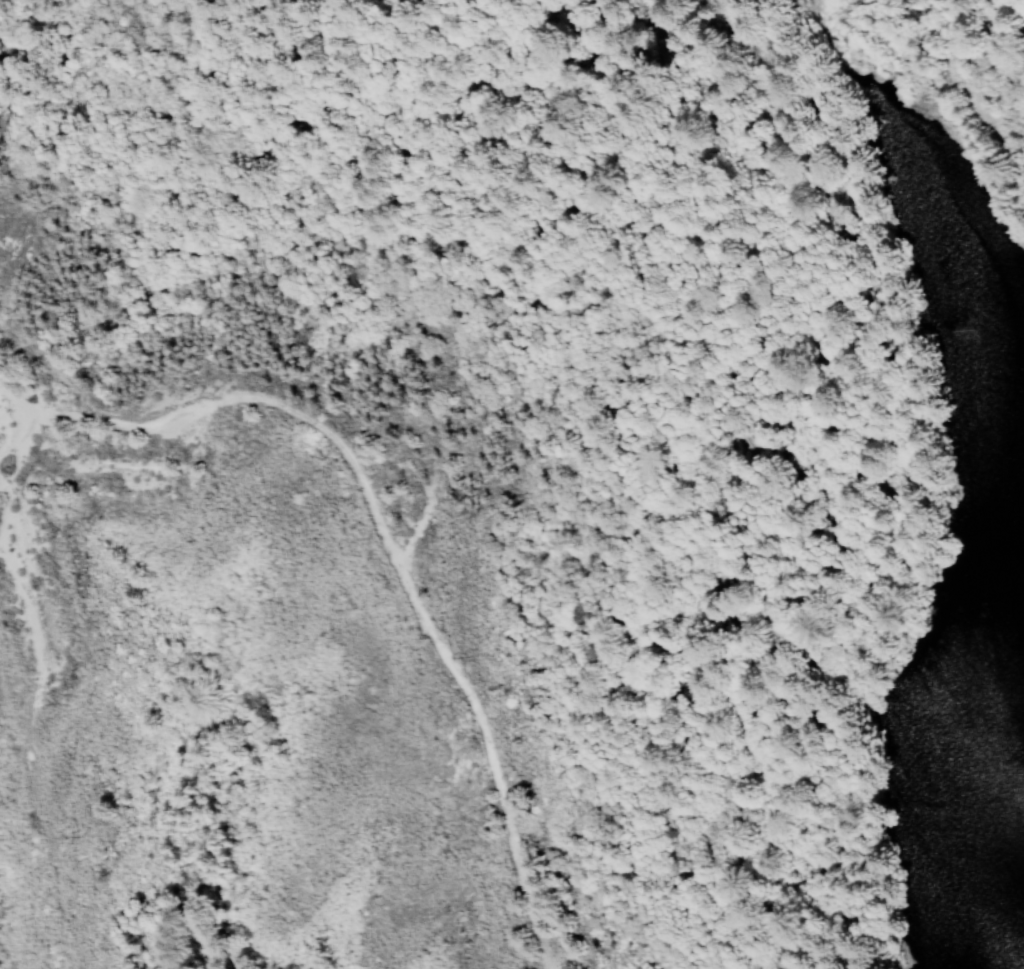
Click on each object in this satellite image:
road: (1007, 63)
building: (3, 416)
road: (420, 515)
road: (385, 532)
road: (39, 687)

